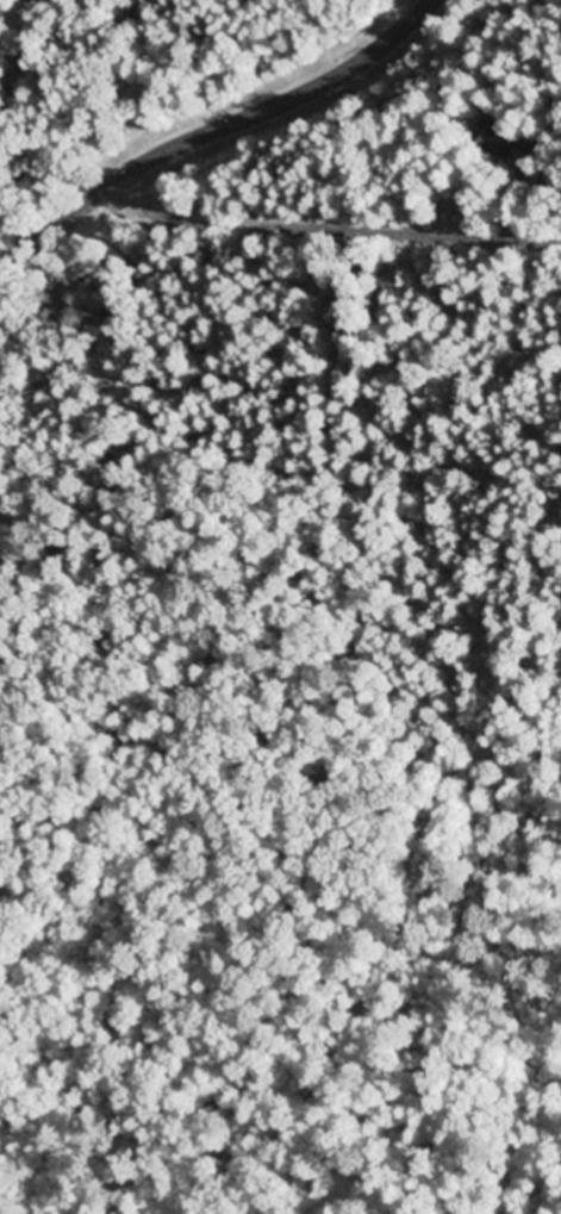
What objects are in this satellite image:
road: (219, 122)
road: (349, 185)
road: (4, 186)
road: (208, 921)

